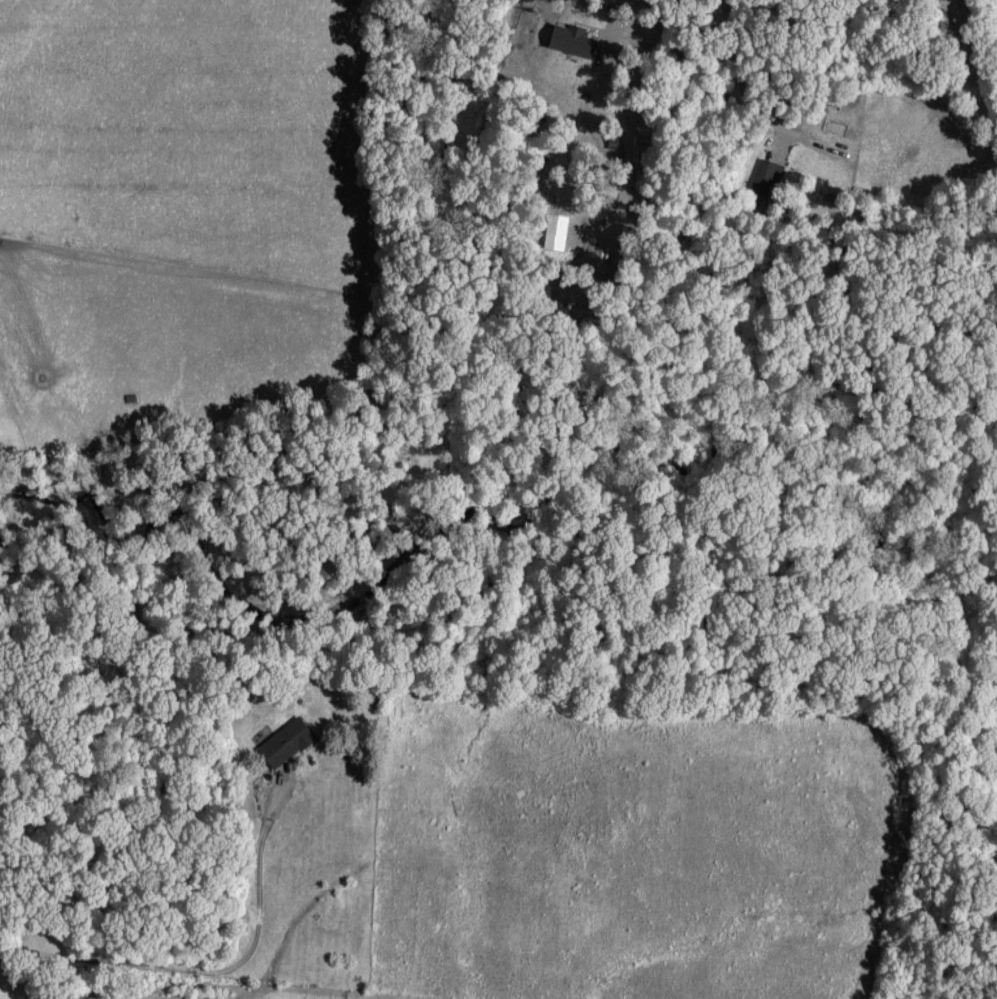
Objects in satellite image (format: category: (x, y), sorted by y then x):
road: (610, 6)
building: (572, 39)
building: (764, 177)
building: (556, 222)
building: (285, 741)

